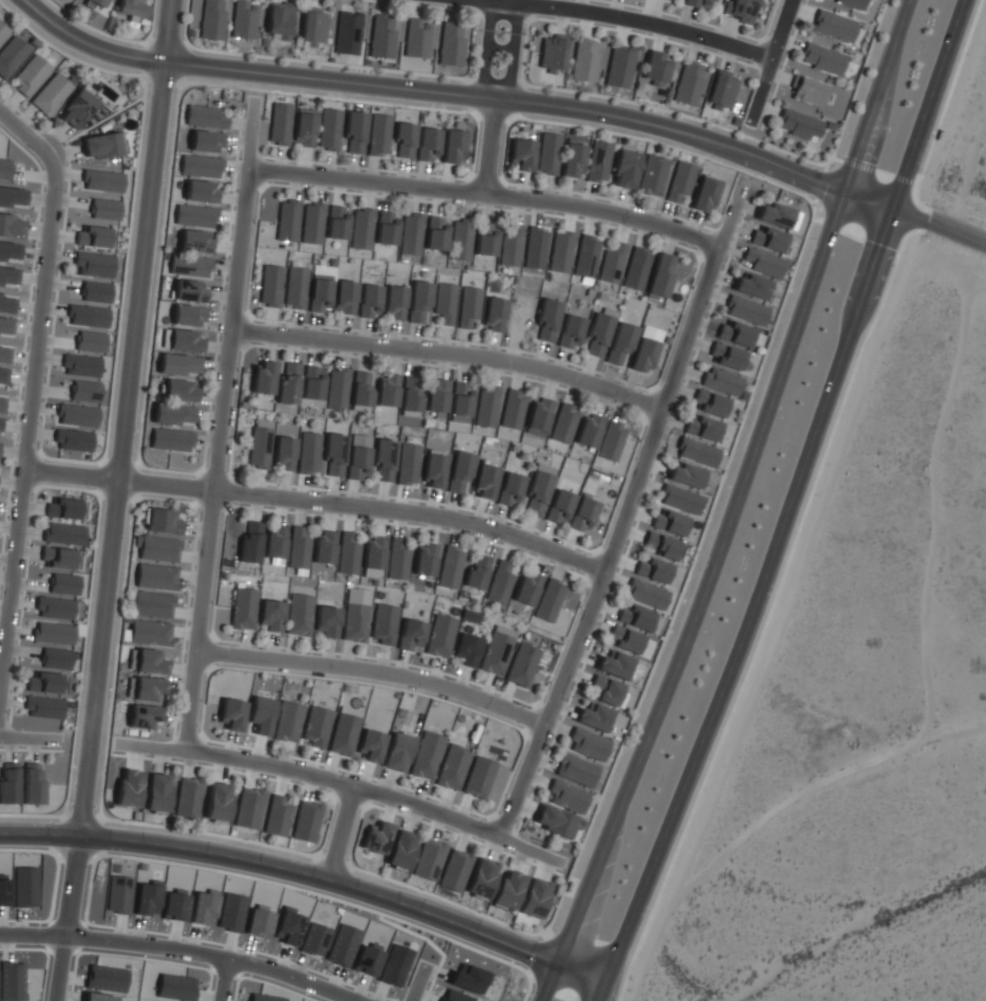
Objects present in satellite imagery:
building: (668, 0)
building: (95, 3)
building: (851, 3)
building: (696, 4)
building: (132, 8)
building: (740, 10)
road: (634, 18)
building: (211, 20)
building: (244, 20)
building: (278, 20)
building: (833, 26)
building: (313, 29)
building: (3, 31)
building: (347, 34)
building: (381, 38)
building: (416, 39)
building: (450, 44)
road: (500, 48)
building: (552, 53)
building: (11, 56)
building: (821, 58)
building: (584, 60)
road: (773, 61)
building: (619, 67)
building: (655, 68)
building: (30, 77)
building: (690, 84)
road: (433, 89)
building: (721, 91)
building: (807, 91)
building: (50, 95)
road: (931, 104)
building: (77, 109)
building: (203, 116)
building: (279, 124)
building: (798, 124)
building: (304, 130)
building: (329, 130)
road: (21, 132)
building: (353, 132)
building: (378, 134)
building: (937, 134)
road: (880, 139)
building: (205, 141)
building: (403, 141)
building: (427, 145)
road: (490, 145)
building: (100, 146)
building: (452, 147)
building: (520, 154)
building: (547, 154)
building: (572, 161)
building: (597, 163)
building: (200, 166)
building: (5, 168)
building: (624, 170)
building: (652, 177)
building: (103, 180)
building: (679, 181)
building: (200, 191)
road: (487, 194)
building: (703, 195)
building: (13, 197)
building: (105, 209)
building: (774, 214)
building: (194, 216)
road: (916, 217)
building: (286, 220)
building: (311, 223)
building: (335, 223)
building: (11, 226)
building: (385, 228)
building: (360, 229)
building: (435, 233)
building: (410, 235)
building: (93, 236)
building: (485, 238)
building: (767, 238)
building: (459, 240)
building: (194, 242)
building: (509, 246)
building: (534, 248)
building: (9, 250)
building: (560, 251)
building: (585, 256)
building: (611, 263)
building: (763, 263)
building: (93, 265)
building: (189, 266)
building: (635, 269)
building: (8, 275)
building: (659, 276)
building: (751, 285)
building: (269, 286)
building: (294, 287)
building: (96, 290)
building: (189, 290)
building: (318, 295)
building: (344, 297)
building: (368, 301)
building: (418, 302)
building: (443, 302)
building: (393, 303)
building: (7, 304)
building: (468, 308)
building: (745, 310)
building: (88, 315)
building: (493, 315)
building: (188, 316)
building: (547, 321)
building: (6, 325)
building: (569, 333)
building: (734, 333)
building: (597, 335)
building: (90, 341)
building: (184, 341)
building: (619, 345)
road: (452, 352)
building: (4, 354)
building: (642, 356)
building: (725, 356)
building: (81, 364)
building: (178, 365)
building: (3, 375)
building: (262, 378)
building: (720, 380)
building: (311, 383)
building: (287, 384)
building: (336, 389)
building: (360, 390)
building: (85, 391)
building: (178, 391)
building: (386, 391)
building: (410, 396)
building: (436, 396)
road: (27, 398)
building: (459, 403)
building: (709, 403)
building: (1, 404)
building: (486, 406)
building: (512, 410)
building: (76, 415)
road: (127, 415)
building: (172, 415)
building: (538, 417)
building: (0, 422)
building: (563, 424)
road: (222, 426)
building: (702, 428)
building: (588, 431)
building: (71, 439)
building: (169, 441)
building: (611, 441)
building: (0, 443)
building: (259, 445)
building: (697, 452)
building: (308, 453)
building: (283, 454)
building: (333, 455)
building: (382, 461)
building: (358, 464)
building: (407, 465)
building: (433, 470)
building: (459, 473)
building: (685, 475)
building: (485, 481)
building: (511, 491)
building: (536, 494)
building: (679, 499)
road: (318, 500)
road: (732, 502)
building: (558, 507)
building: (64, 508)
road: (627, 513)
building: (583, 514)
building: (159, 522)
building: (669, 522)
building: (63, 533)
building: (249, 542)
building: (274, 542)
building: (661, 545)
building: (324, 548)
building: (156, 550)
building: (297, 550)
building: (373, 553)
building: (347, 555)
building: (58, 557)
building: (424, 559)
building: (396, 560)
building: (449, 567)
building: (652, 570)
building: (475, 571)
building: (154, 578)
building: (500, 582)
building: (64, 583)
building: (527, 589)
building: (645, 595)
building: (548, 600)
building: (151, 605)
road: (753, 606)
building: (55, 607)
building: (242, 609)
building: (298, 616)
building: (470, 616)
building: (269, 617)
building: (634, 618)
building: (326, 623)
building: (354, 623)
building: (383, 625)
building: (148, 633)
building: (410, 636)
building: (440, 636)
building: (624, 640)
building: (466, 651)
building: (496, 651)
building: (55, 658)
building: (149, 662)
building: (614, 665)
building: (522, 666)
road: (376, 670)
building: (45, 682)
building: (148, 690)
building: (603, 691)
building: (42, 708)
building: (230, 715)
building: (260, 716)
building: (142, 717)
building: (591, 718)
building: (287, 722)
building: (316, 728)
building: (342, 735)
road: (27, 740)
building: (587, 745)
building: (369, 747)
building: (397, 753)
building: (426, 756)
building: (452, 768)
building: (575, 771)
building: (479, 778)
building: (9, 783)
road: (345, 783)
building: (127, 789)
building: (31, 793)
building: (156, 794)
building: (566, 797)
building: (187, 798)
building: (217, 803)
building: (247, 809)
building: (276, 816)
building: (306, 822)
building: (553, 822)
road: (343, 830)
building: (376, 839)
building: (400, 851)
building: (428, 861)
road: (285, 863)
building: (454, 872)
building: (480, 880)
building: (25, 886)
building: (506, 891)
building: (118, 894)
building: (147, 898)
building: (532, 899)
building: (175, 904)
building: (204, 906)
building: (231, 912)
road: (68, 915)
building: (259, 921)
building: (314, 939)
building: (342, 944)
road: (186, 948)
building: (367, 958)
building: (394, 965)
road: (584, 968)
building: (106, 978)
road: (223, 978)
building: (468, 978)
road: (413, 979)
building: (11, 981)
building: (176, 987)
building: (454, 996)
building: (98, 997)
building: (265, 998)

